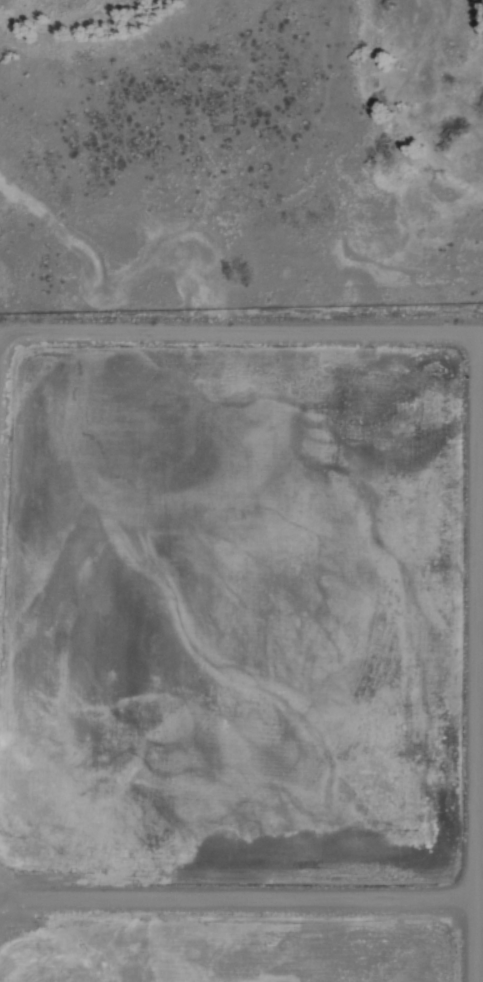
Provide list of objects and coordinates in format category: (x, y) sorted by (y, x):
wastewater plant: (241, 664)

